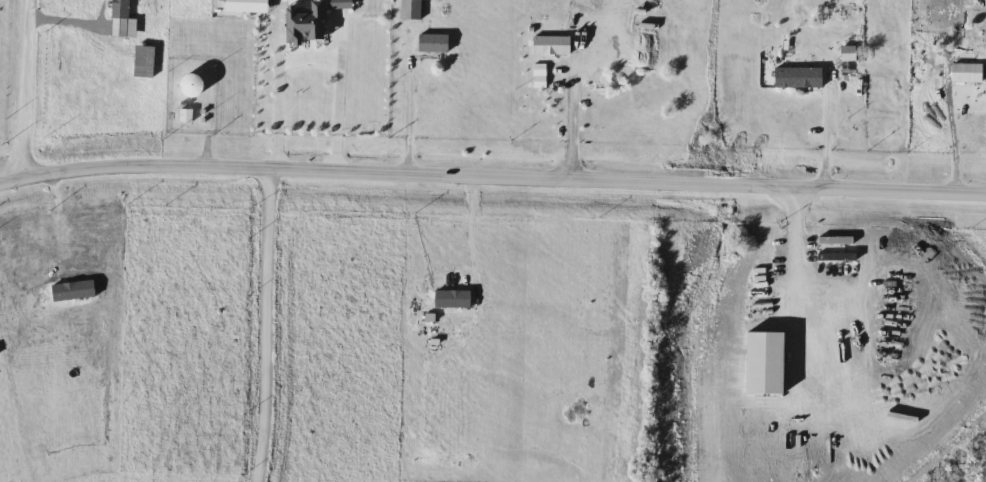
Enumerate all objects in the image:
building: (414, 11)
road: (72, 19)
building: (125, 20)
building: (437, 44)
building: (555, 46)
building: (843, 54)
building: (969, 54)
road: (312, 55)
building: (309, 60)
building: (794, 78)
building: (198, 86)
road: (25, 91)
road: (571, 100)
building: (189, 117)
road: (409, 117)
road: (952, 127)
road: (827, 140)
road: (492, 176)
road: (799, 240)

